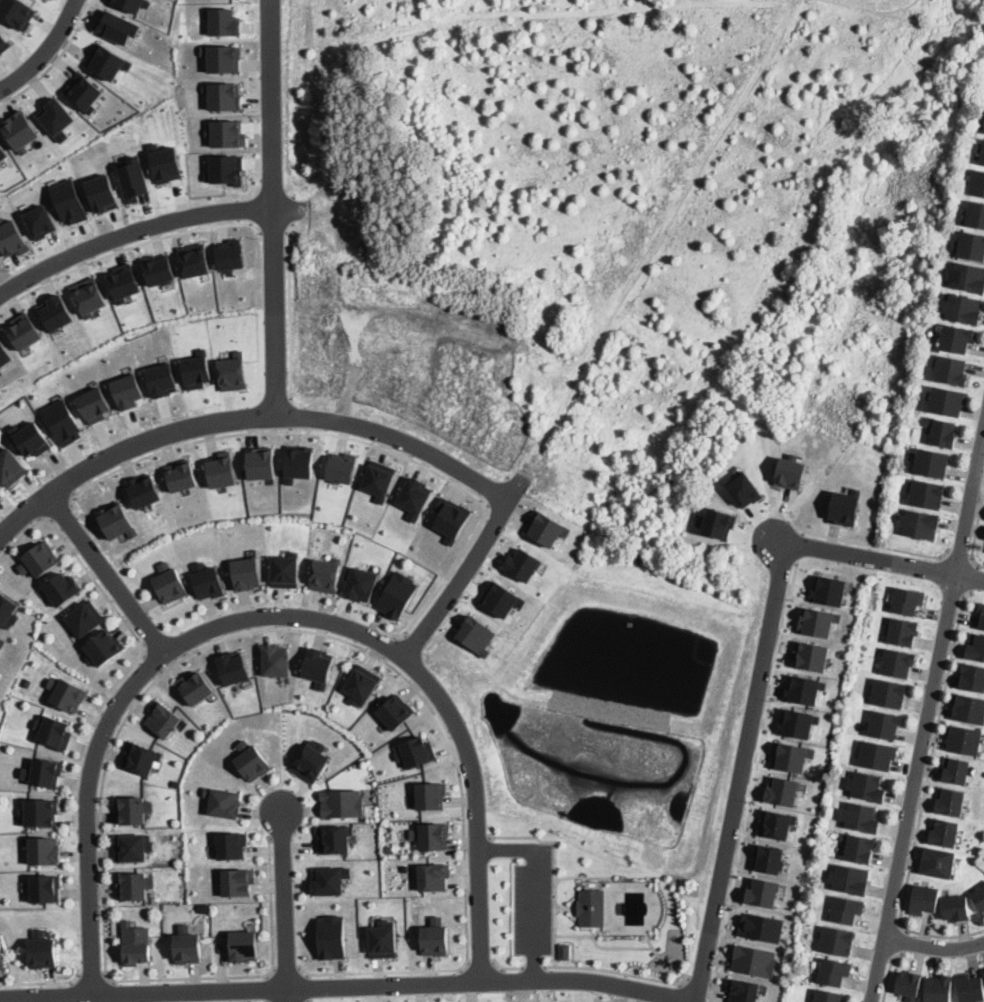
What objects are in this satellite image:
building: (132, 4)
building: (17, 12)
building: (223, 21)
building: (117, 26)
building: (4, 43)
road: (45, 51)
building: (222, 57)
road: (54, 60)
building: (107, 61)
building: (83, 91)
building: (222, 95)
building: (56, 117)
building: (20, 130)
building: (983, 130)
building: (226, 133)
building: (981, 151)
building: (3, 152)
building: (165, 162)
building: (225, 169)
building: (133, 177)
building: (977, 182)
building: (102, 191)
building: (68, 201)
road: (272, 207)
building: (975, 213)
building: (40, 220)
road: (273, 232)
road: (130, 234)
building: (12, 237)
building: (971, 245)
road: (125, 247)
building: (230, 253)
building: (194, 259)
building: (0, 263)
building: (158, 269)
building: (967, 277)
building: (123, 282)
building: (89, 295)
building: (961, 307)
road: (289, 311)
building: (56, 312)
building: (24, 330)
building: (956, 339)
building: (4, 355)
building: (197, 369)
building: (952, 370)
building: (232, 371)
building: (1, 372)
building: (162, 379)
building: (128, 390)
building: (948, 400)
building: (94, 404)
road: (290, 415)
road: (246, 416)
building: (63, 421)
building: (943, 430)
building: (30, 438)
road: (357, 439)
building: (261, 462)
building: (299, 462)
building: (931, 462)
building: (10, 466)
building: (342, 467)
building: (222, 469)
building: (790, 472)
building: (182, 474)
building: (379, 479)
building: (143, 489)
building: (744, 489)
building: (0, 491)
building: (927, 494)
building: (414, 497)
building: (843, 507)
road: (59, 510)
building: (451, 518)
building: (116, 520)
building: (718, 522)
building: (921, 524)
building: (546, 527)
road: (976, 535)
road: (800, 544)
road: (878, 545)
road: (960, 555)
building: (39, 559)
road: (882, 561)
road: (81, 562)
building: (522, 564)
building: (285, 571)
road: (106, 572)
building: (246, 573)
building: (325, 575)
road: (458, 578)
road: (973, 578)
building: (206, 580)
building: (170, 581)
building: (361, 584)
building: (62, 588)
building: (828, 589)
building: (397, 594)
building: (502, 598)
building: (907, 599)
building: (8, 610)
road: (276, 613)
building: (981, 615)
building: (85, 618)
building: (817, 620)
building: (0, 631)
building: (903, 631)
building: (477, 634)
road: (215, 642)
building: (105, 647)
road: (387, 647)
building: (976, 647)
building: (811, 655)
building: (276, 660)
building: (898, 662)
road: (154, 664)
building: (318, 665)
building: (233, 666)
building: (972, 676)
building: (361, 684)
building: (195, 686)
building: (803, 688)
building: (67, 692)
building: (889, 692)
building: (968, 708)
building: (395, 711)
building: (162, 717)
building: (797, 722)
road: (927, 722)
building: (885, 724)
building: (54, 730)
building: (965, 740)
building: (416, 752)
building: (877, 754)
building: (791, 756)
building: (140, 757)
building: (250, 760)
building: (312, 760)
building: (956, 770)
building: (43, 771)
road: (739, 772)
road: (753, 780)
building: (867, 785)
building: (782, 791)
building: (430, 795)
road: (924, 798)
building: (224, 801)
building: (950, 801)
building: (343, 802)
building: (131, 809)
building: (40, 811)
building: (861, 817)
building: (776, 823)
building: (945, 832)
building: (433, 835)
building: (334, 838)
road: (478, 838)
building: (231, 844)
building: (133, 846)
building: (860, 848)
building: (45, 849)
building: (768, 858)
building: (937, 861)
road: (555, 870)
building: (433, 875)
building: (850, 878)
building: (330, 879)
building: (238, 881)
building: (134, 885)
building: (45, 888)
road: (533, 888)
building: (762, 892)
building: (923, 899)
building: (979, 899)
road: (284, 903)
building: (204, 906)
building: (592, 907)
building: (956, 907)
building: (846, 909)
building: (760, 926)
building: (332, 936)
building: (383, 938)
building: (837, 939)
road: (898, 940)
building: (435, 941)
building: (136, 943)
building: (243, 944)
building: (187, 947)
road: (934, 948)
building: (43, 949)
building: (564, 951)
building: (1, 953)
building: (754, 960)
road: (480, 962)
road: (505, 966)
road: (534, 966)
road: (287, 971)
road: (619, 971)
building: (833, 971)
road: (889, 974)
road: (93, 978)
road: (700, 979)
road: (42, 983)
building: (908, 984)
road: (349, 986)
road: (268, 987)
building: (939, 989)
building: (971, 989)
building: (742, 990)
building: (828, 996)

